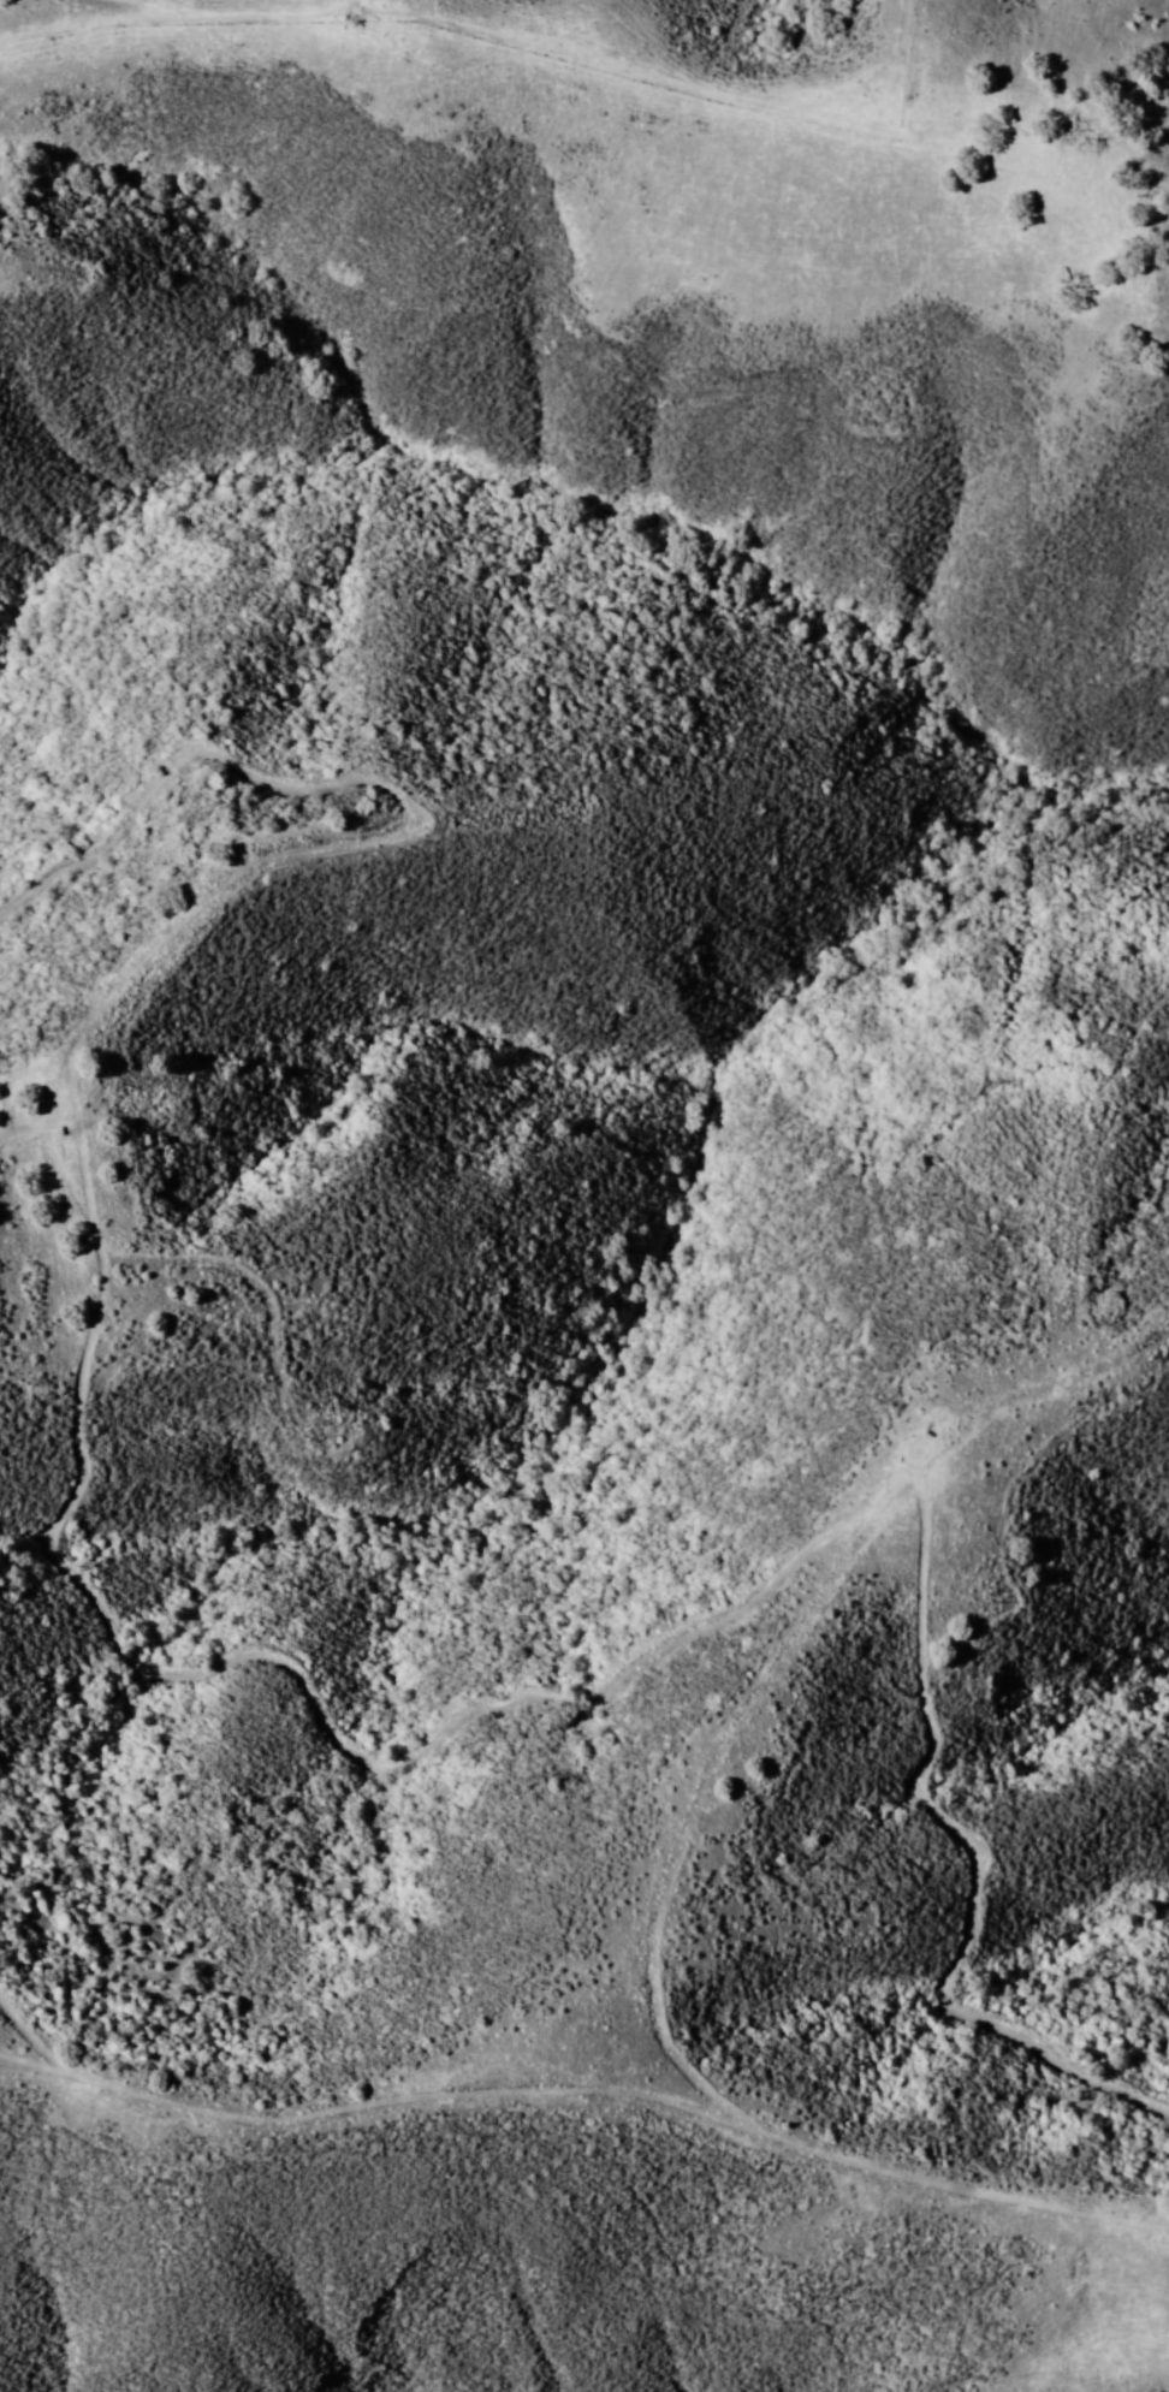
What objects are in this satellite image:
road: (592, 2130)

